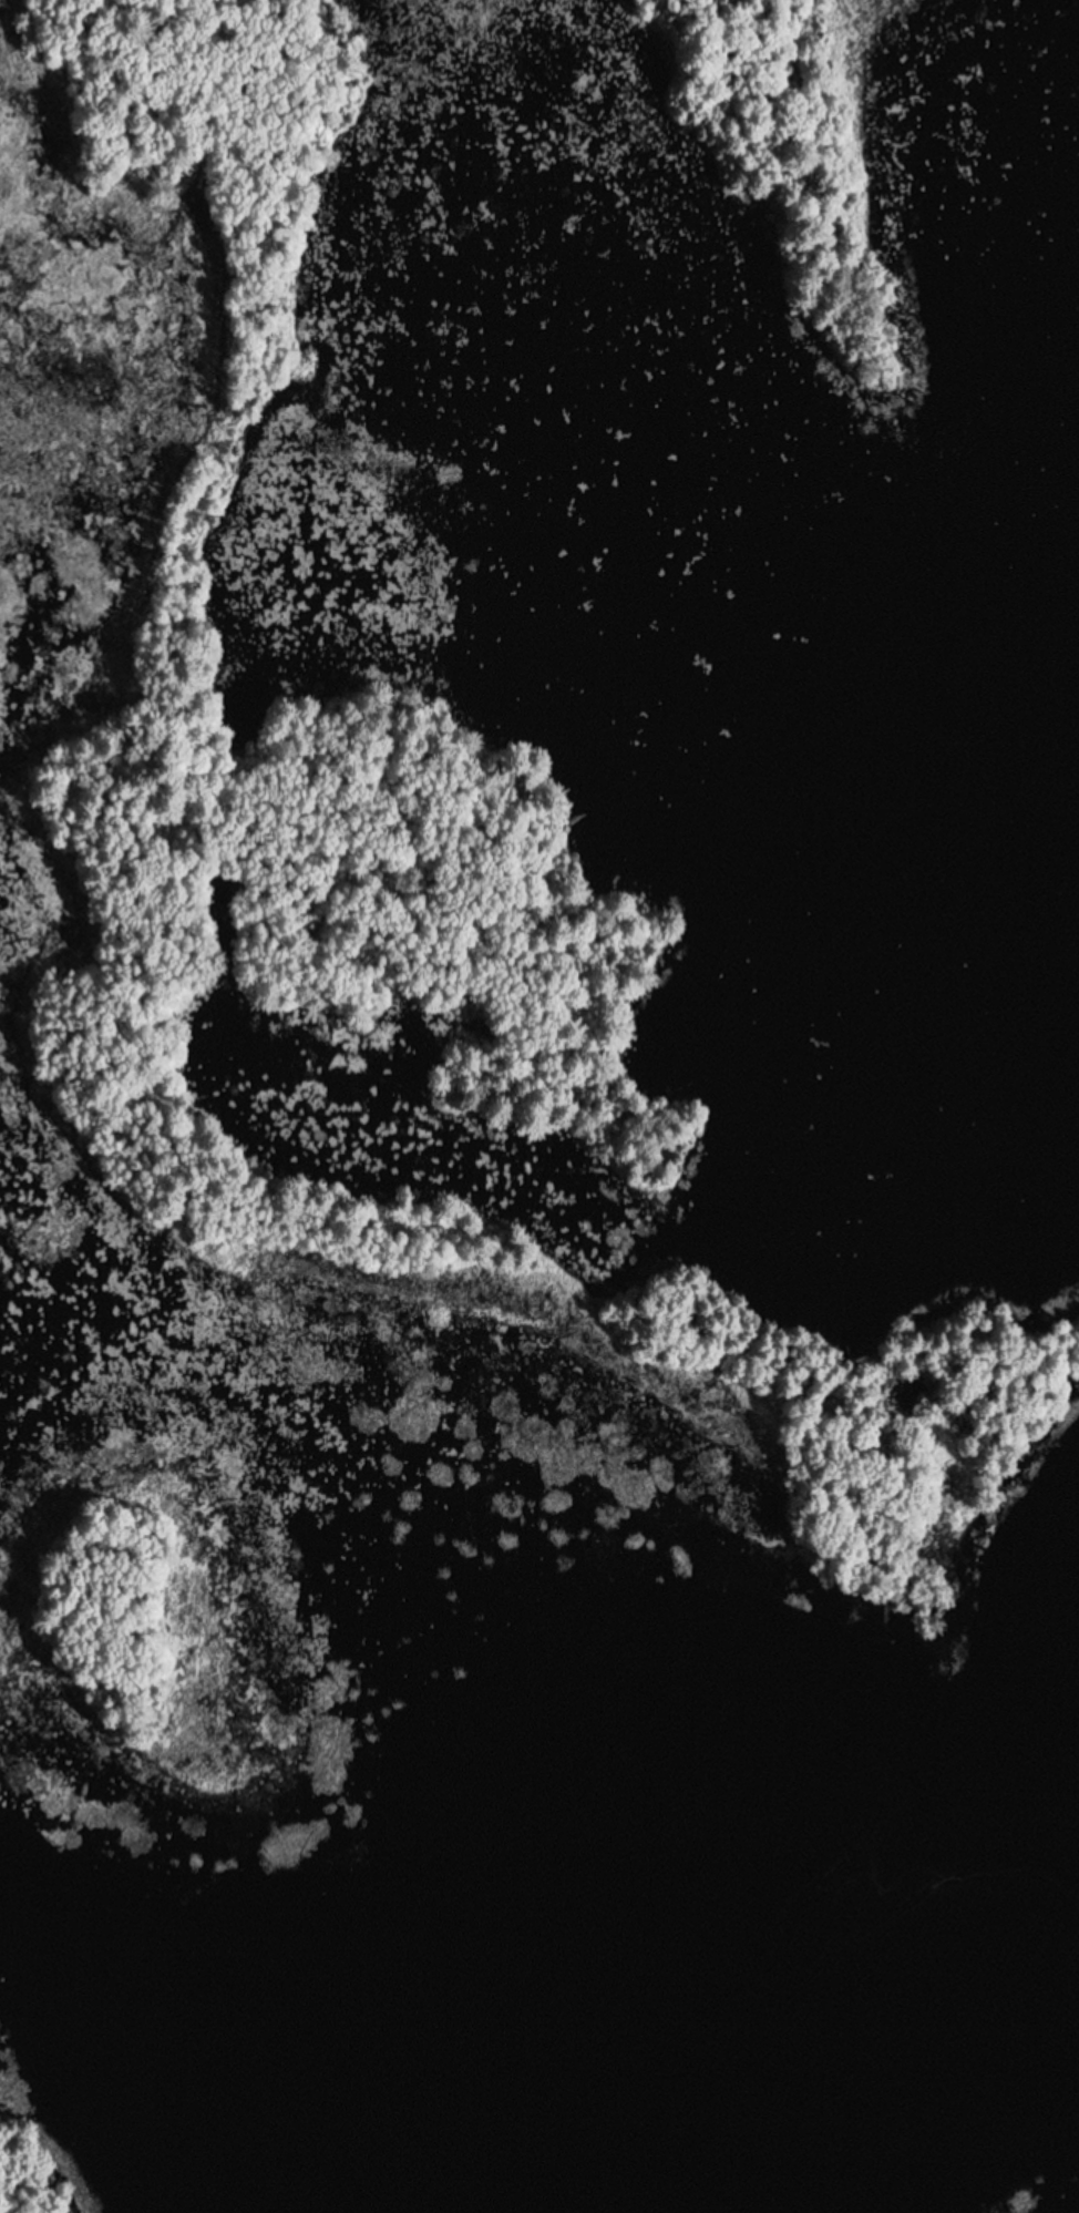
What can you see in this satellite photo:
river: (901, 2111)

